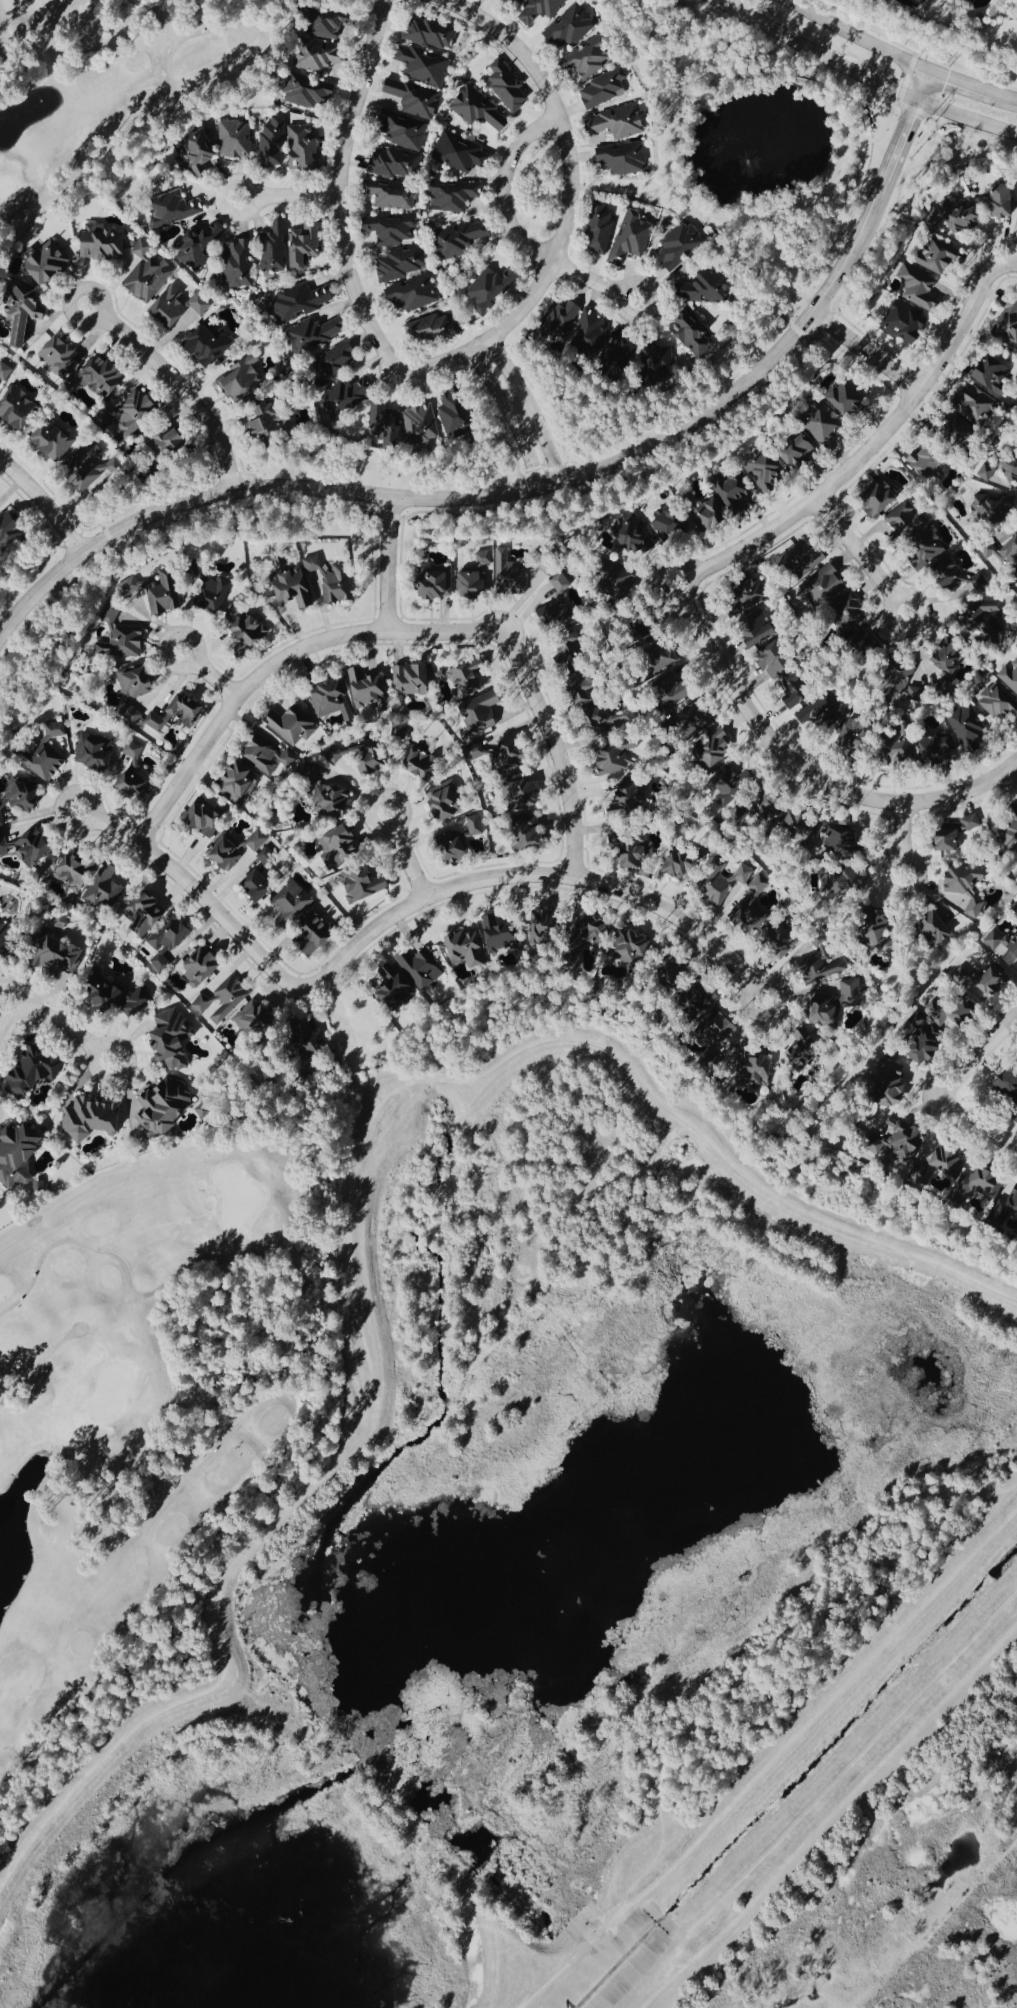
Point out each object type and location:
building: (521, 1)
road: (709, 2)
road: (714, 2)
building: (540, 9)
building: (328, 21)
building: (571, 26)
road: (44, 27)
building: (432, 32)
road: (859, 36)
building: (321, 55)
road: (812, 55)
building: (591, 57)
building: (425, 64)
traffic signals: (928, 72)
road: (960, 82)
building: (508, 85)
road: (922, 86)
building: (605, 87)
park: (112, 89)
building: (308, 90)
road: (1004, 95)
building: (415, 97)
road: (832, 100)
traffic signals: (916, 101)
building: (480, 109)
road: (966, 119)
building: (620, 121)
road: (140, 123)
building: (404, 129)
building: (236, 138)
building: (274, 142)
building: (304, 148)
building: (197, 152)
building: (460, 152)
building: (623, 158)
building: (394, 163)
road: (625, 188)
building: (392, 194)
building: (454, 194)
road: (336, 195)
road: (287, 197)
road: (570, 200)
building: (174, 208)
building: (958, 216)
building: (600, 227)
road: (514, 232)
building: (632, 236)
building: (461, 237)
building: (103, 241)
building: (305, 243)
building: (681, 244)
building: (397, 245)
building: (200, 246)
building: (275, 246)
building: (939, 256)
road: (1007, 260)
building: (47, 261)
building: (239, 262)
building: (147, 273)
road: (795, 285)
building: (707, 286)
building: (919, 286)
building: (492, 287)
building: (414, 293)
building: (300, 301)
building: (178, 305)
building: (24, 311)
building: (561, 317)
building: (904, 323)
building: (1008, 324)
building: (432, 328)
building: (591, 329)
building: (692, 331)
building: (315, 333)
building: (209, 342)
building: (620, 350)
road: (866, 353)
building: (61, 356)
building: (659, 358)
building: (334, 363)
building: (994, 373)
building: (244, 379)
road: (178, 386)
building: (348, 395)
building: (846, 397)
building: (974, 404)
building: (17, 407)
road: (530, 409)
building: (456, 412)
building: (134, 413)
road: (511, 417)
building: (267, 421)
building: (385, 421)
building: (823, 421)
building: (421, 423)
building: (960, 432)
building: (53, 439)
building: (166, 442)
building: (799, 450)
road: (868, 452)
building: (928, 461)
building: (87, 467)
building: (1011, 467)
building: (765, 468)
building: (987, 472)
building: (732, 488)
road: (528, 492)
building: (880, 498)
road: (45, 503)
building: (993, 507)
building: (709, 515)
road: (393, 517)
building: (906, 520)
building: (669, 521)
building: (10, 530)
building: (632, 533)
building: (926, 549)
building: (1010, 552)
road: (861, 558)
road: (388, 565)
building: (815, 568)
building: (519, 574)
building: (478, 578)
building: (963, 578)
building: (333, 580)
building: (437, 583)
building: (293, 584)
building: (166, 593)
building: (560, 606)
building: (759, 613)
building: (249, 635)
building: (126, 645)
building: (575, 649)
building: (952, 657)
building: (776, 659)
road: (279, 662)
road: (210, 674)
building: (470, 677)
building: (1010, 677)
building: (412, 681)
building: (368, 689)
building: (800, 689)
building: (332, 701)
building: (998, 706)
building: (188, 710)
building: (485, 710)
building: (159, 723)
building: (839, 724)
building: (293, 726)
building: (970, 728)
building: (610, 730)
building: (56, 731)
road: (556, 749)
building: (900, 752)
building: (100, 753)
building: (268, 758)
building: (44, 764)
building: (515, 764)
building: (424, 768)
road: (803, 772)
building: (135, 775)
building: (240, 783)
building: (24, 794)
building: (635, 800)
building: (448, 804)
building: (335, 806)
building: (207, 816)
building: (957, 832)
building: (1008, 834)
building: (461, 841)
road: (904, 841)
building: (343, 845)
building: (35, 848)
building: (237, 850)
road: (406, 856)
building: (635, 856)
building: (269, 860)
building: (684, 867)
road: (546, 875)
building: (92, 882)
building: (761, 884)
building: (364, 885)
building: (260, 886)
building: (728, 886)
building: (967, 887)
road: (202, 898)
building: (291, 904)
building: (143, 914)
building: (1016, 914)
building: (752, 917)
building: (937, 929)
building: (316, 935)
building: (501, 935)
building: (169, 936)
building: (784, 936)
building: (8, 941)
building: (883, 941)
building: (1003, 947)
building: (467, 951)
building: (59, 958)
building: (201, 968)
building: (410, 978)
road: (20, 990)
building: (853, 994)
building: (222, 1001)
building: (828, 1011)
building: (956, 1013)
building: (253, 1021)
road: (57, 1023)
building: (174, 1039)
building: (927, 1048)
building: (805, 1049)
road: (975, 1060)
building: (36, 1070)
building: (165, 1108)
building: (205, 1111)
building: (91, 1120)
road: (975, 1127)
building: (904, 1143)
building: (18, 1156)
building: (943, 1165)
building: (991, 1185)
building: (1014, 1205)
road: (350, 1209)
park: (249, 1325)
road: (40, 1368)
road: (19, 1372)
road: (282, 1392)
park: (135, 1409)
road: (819, 1694)
road: (772, 1762)
road: (820, 1793)
road: (840, 1803)
road: (469, 1919)

